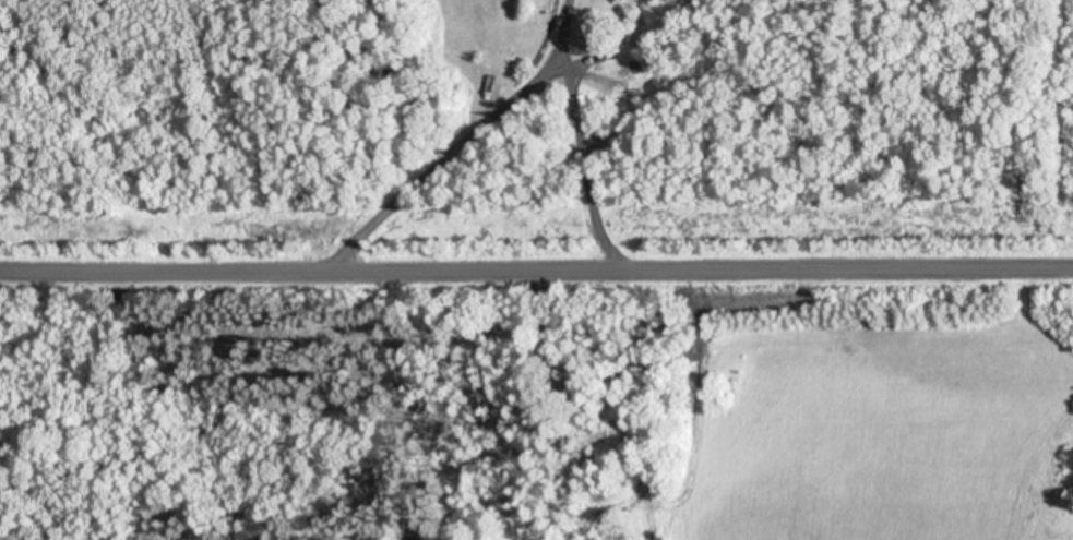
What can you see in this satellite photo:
road: (536, 274)

